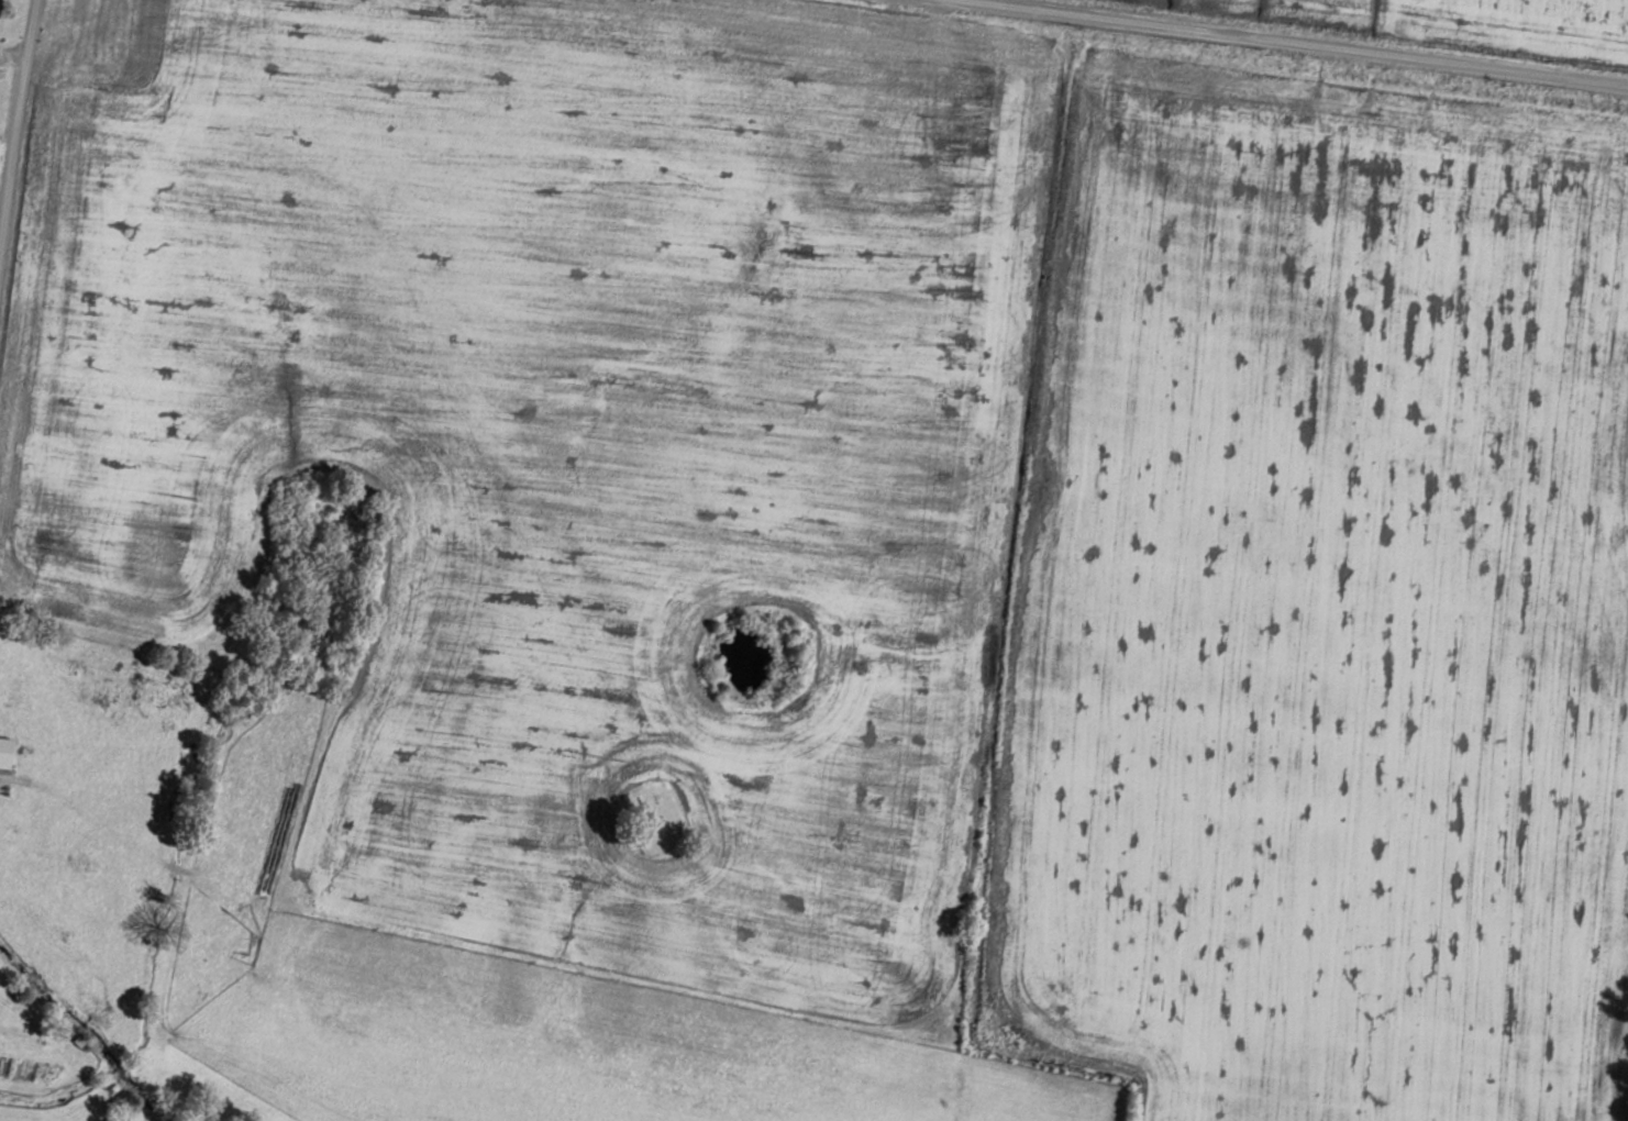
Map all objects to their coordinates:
road: (1142, 68)
road: (13, 98)
park: (660, 818)

